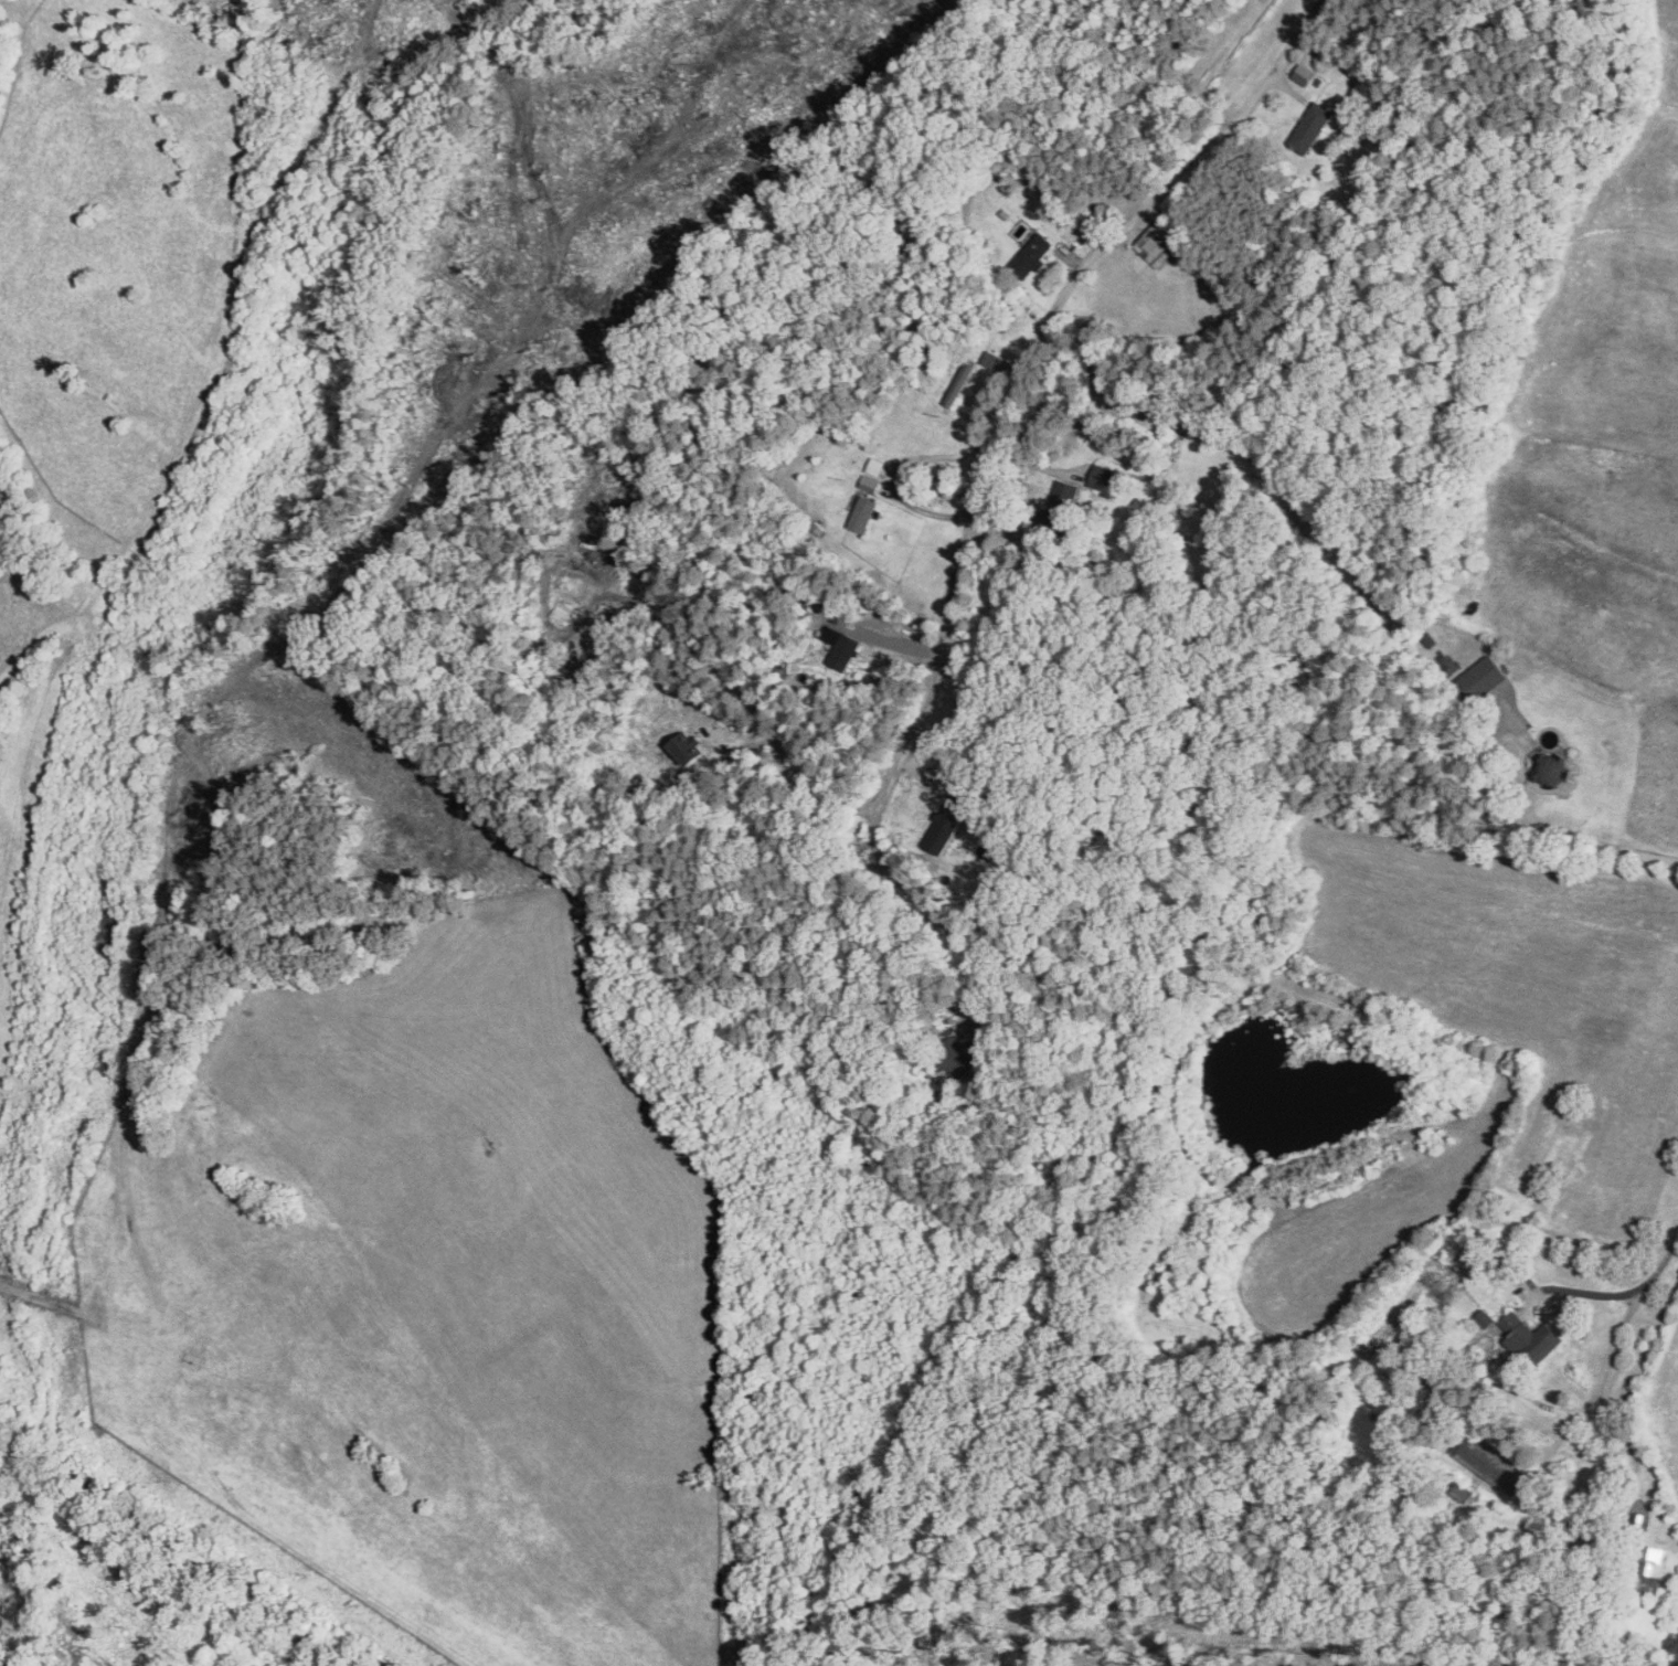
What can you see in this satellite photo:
building: (1305, 72)
building: (1313, 125)
building: (1156, 242)
building: (1032, 253)
road: (1034, 350)
road: (896, 475)
building: (1106, 476)
building: (869, 482)
building: (1064, 497)
building: (863, 512)
building: (1483, 676)
building: (692, 750)
road: (799, 768)
building: (1552, 770)
building: (950, 820)
road: (1546, 826)
road: (917, 890)
road: (1635, 1304)
building: (1486, 1317)
building: (1531, 1337)
building: (1494, 1462)

